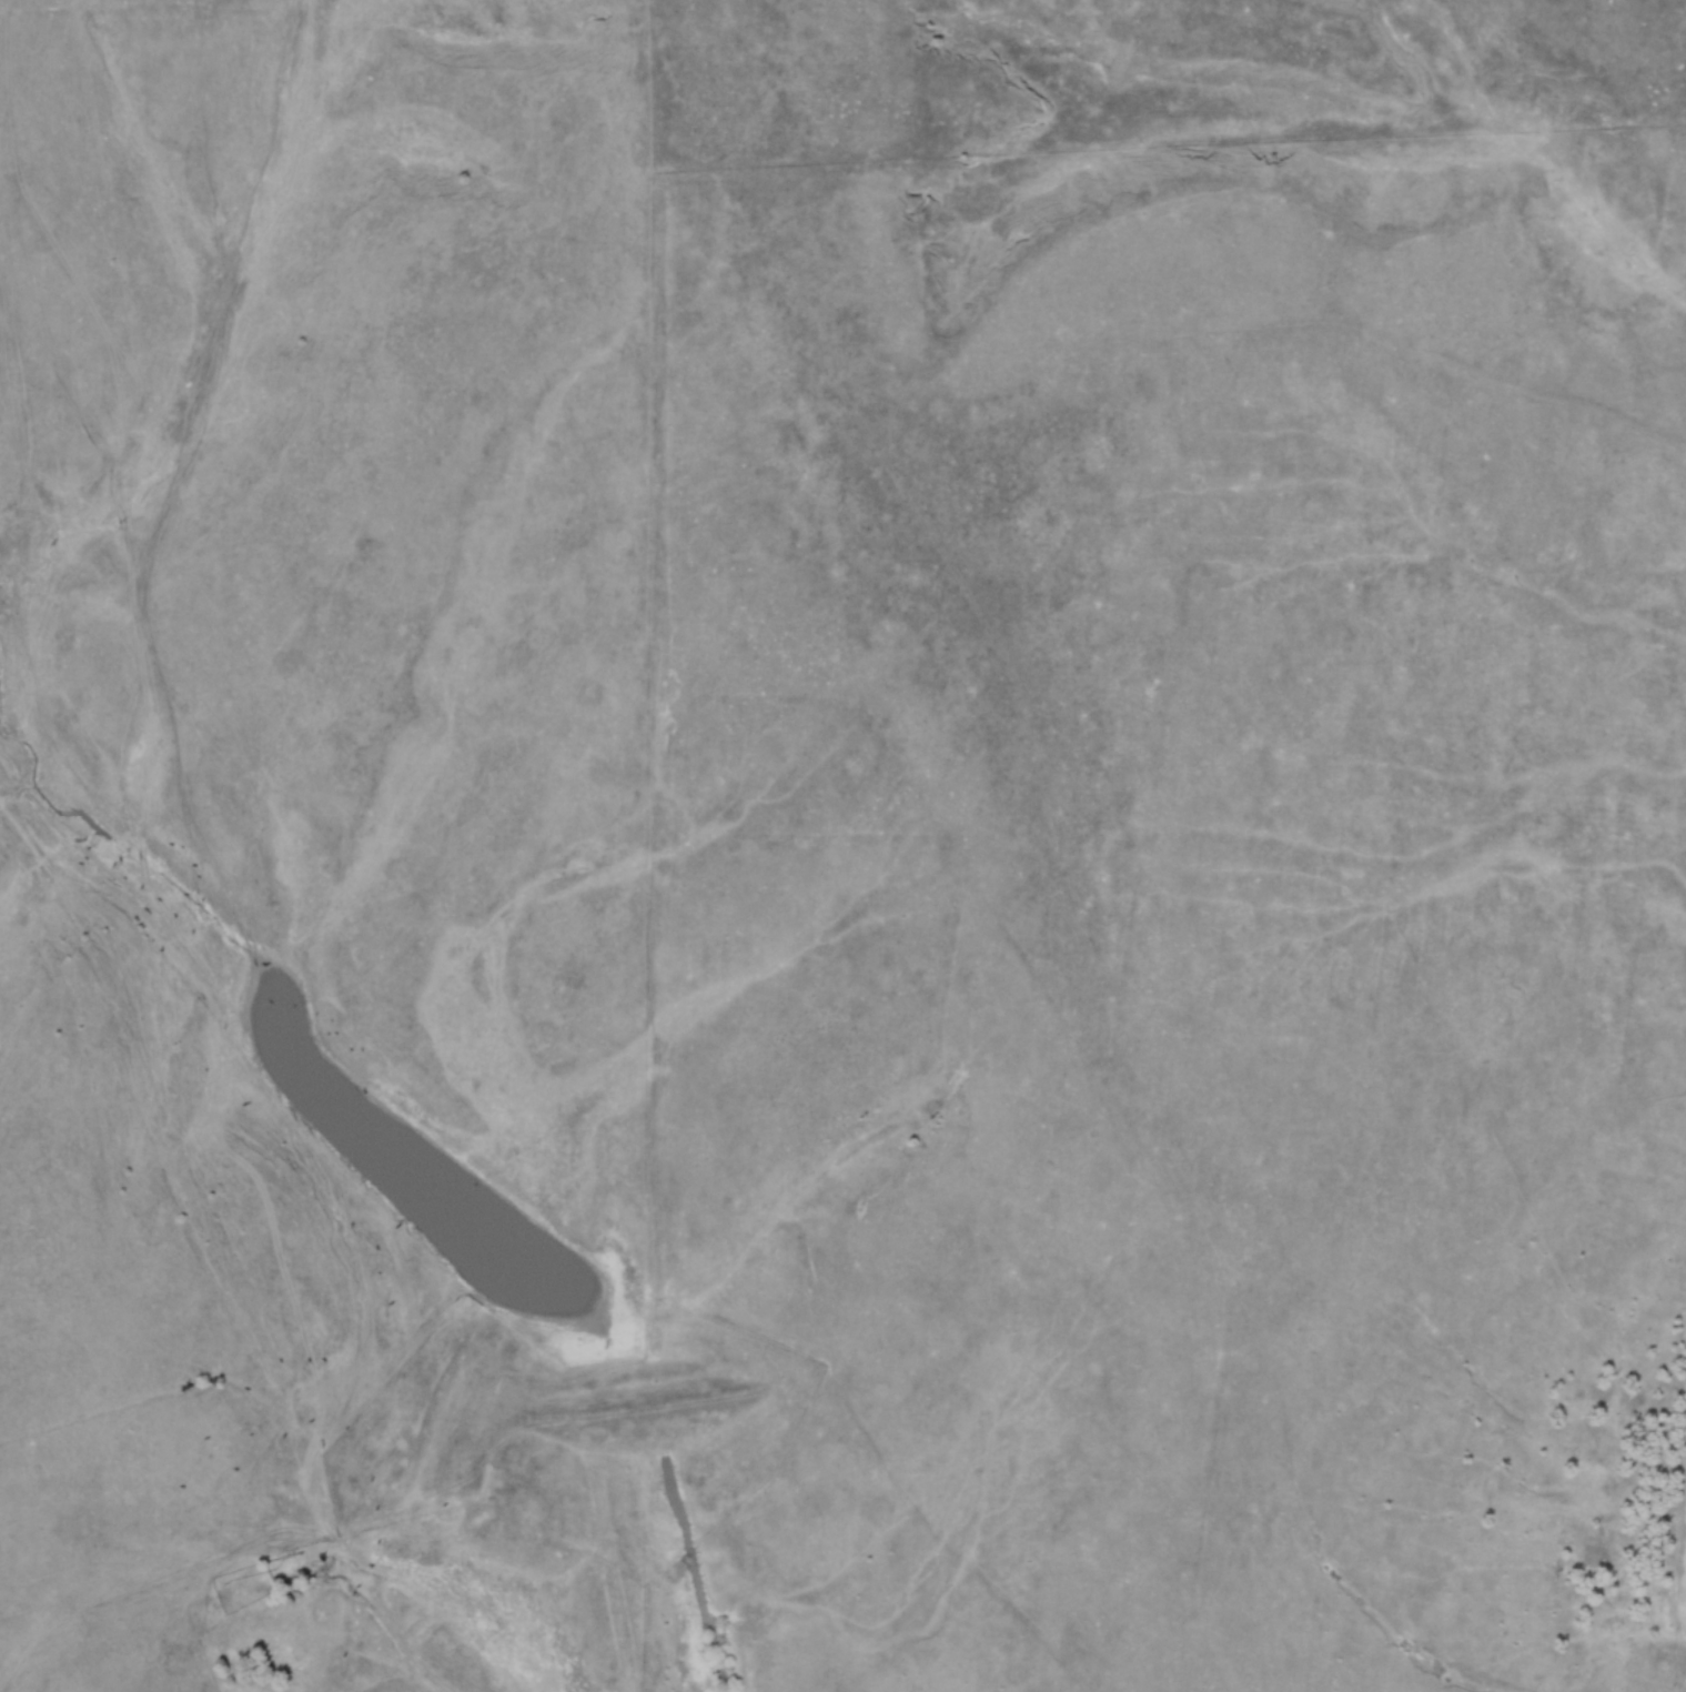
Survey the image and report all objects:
dam: (638, 1400)

